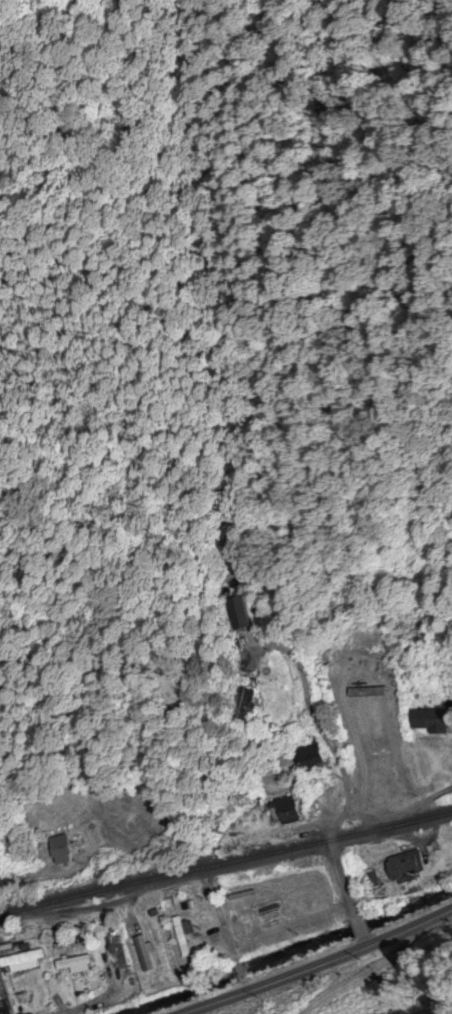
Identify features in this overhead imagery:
building: (236, 613)
building: (390, 695)
building: (243, 697)
road: (327, 709)
building: (352, 711)
building: (431, 720)
building: (365, 748)
building: (309, 758)
building: (372, 764)
building: (285, 810)
road: (345, 816)
building: (59, 849)
railway: (225, 862)
building: (403, 866)
building: (370, 879)
building: (317, 887)
building: (297, 895)
building: (276, 899)
building: (259, 906)
building: (238, 911)
road: (278, 930)
road: (356, 930)
building: (180, 936)
road: (362, 944)
building: (115, 953)
building: (19, 962)
building: (74, 965)
road: (322, 965)
road: (242, 979)

